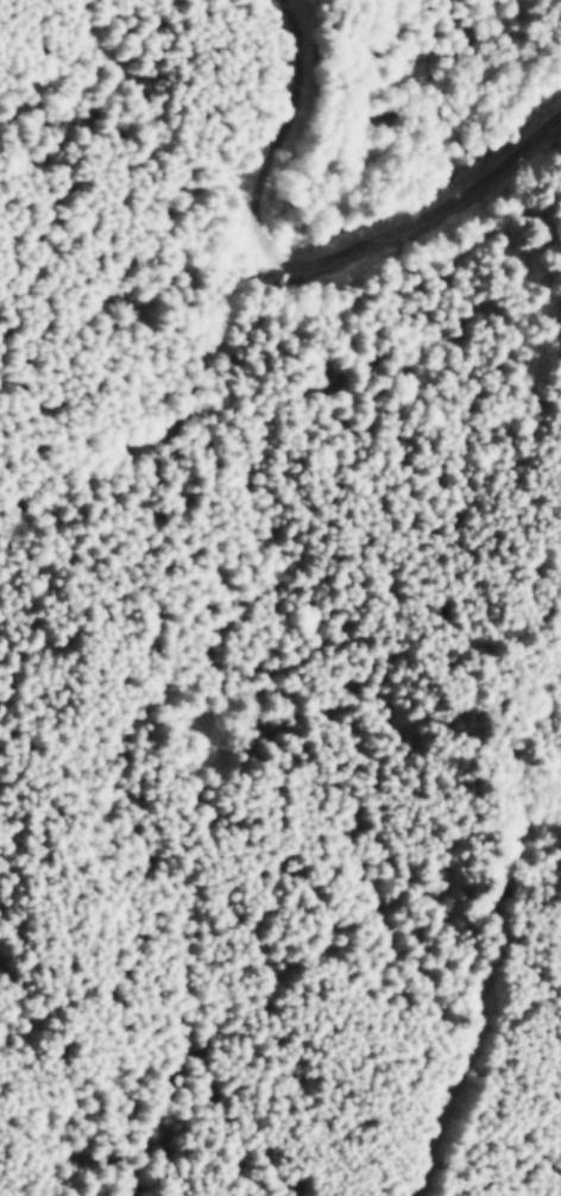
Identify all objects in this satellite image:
road: (353, 209)
road: (496, 1013)

